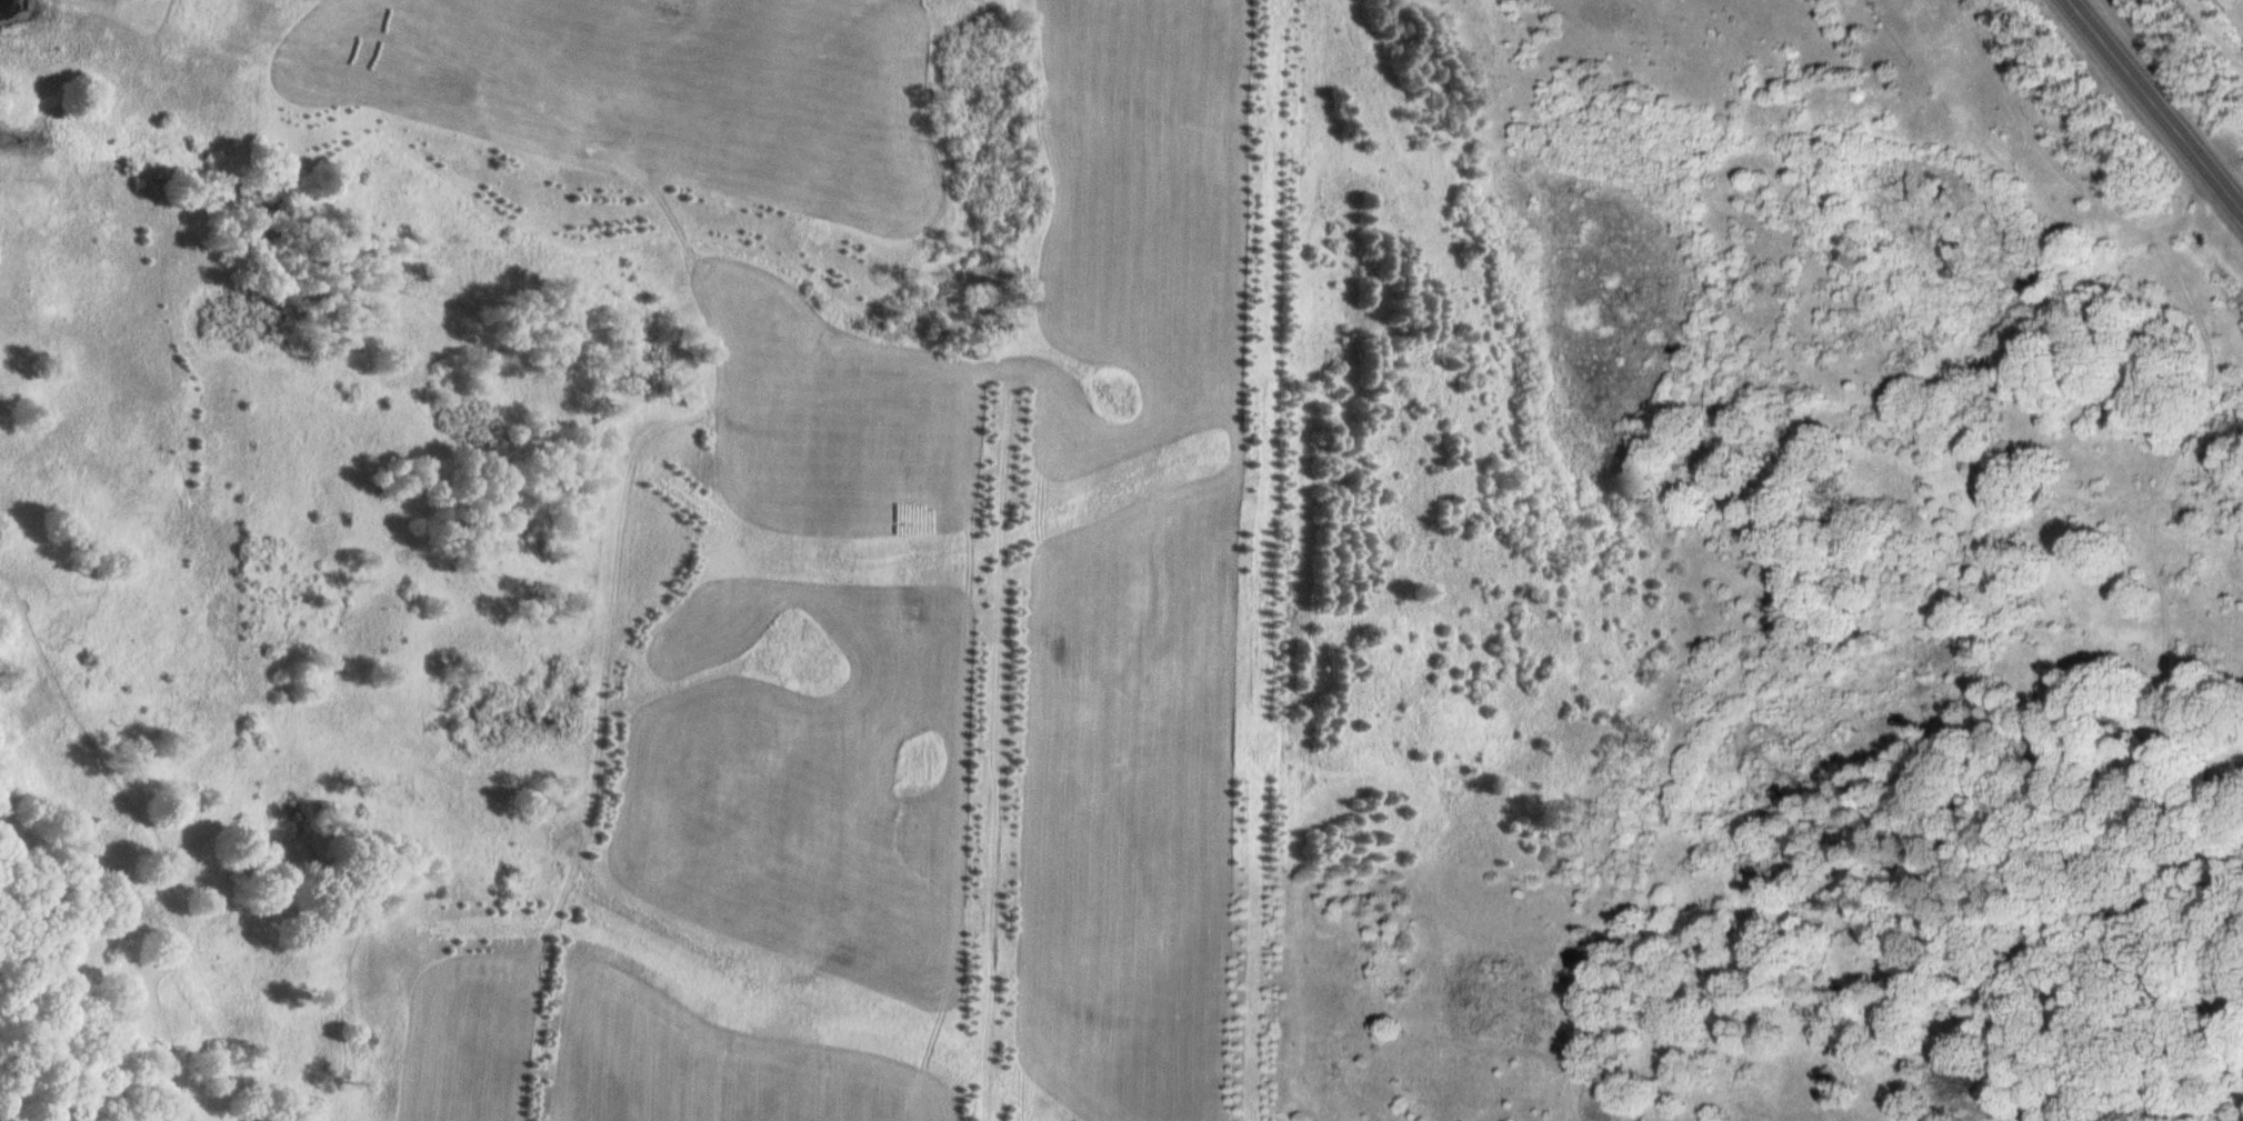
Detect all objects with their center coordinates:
road: (2161, 91)

